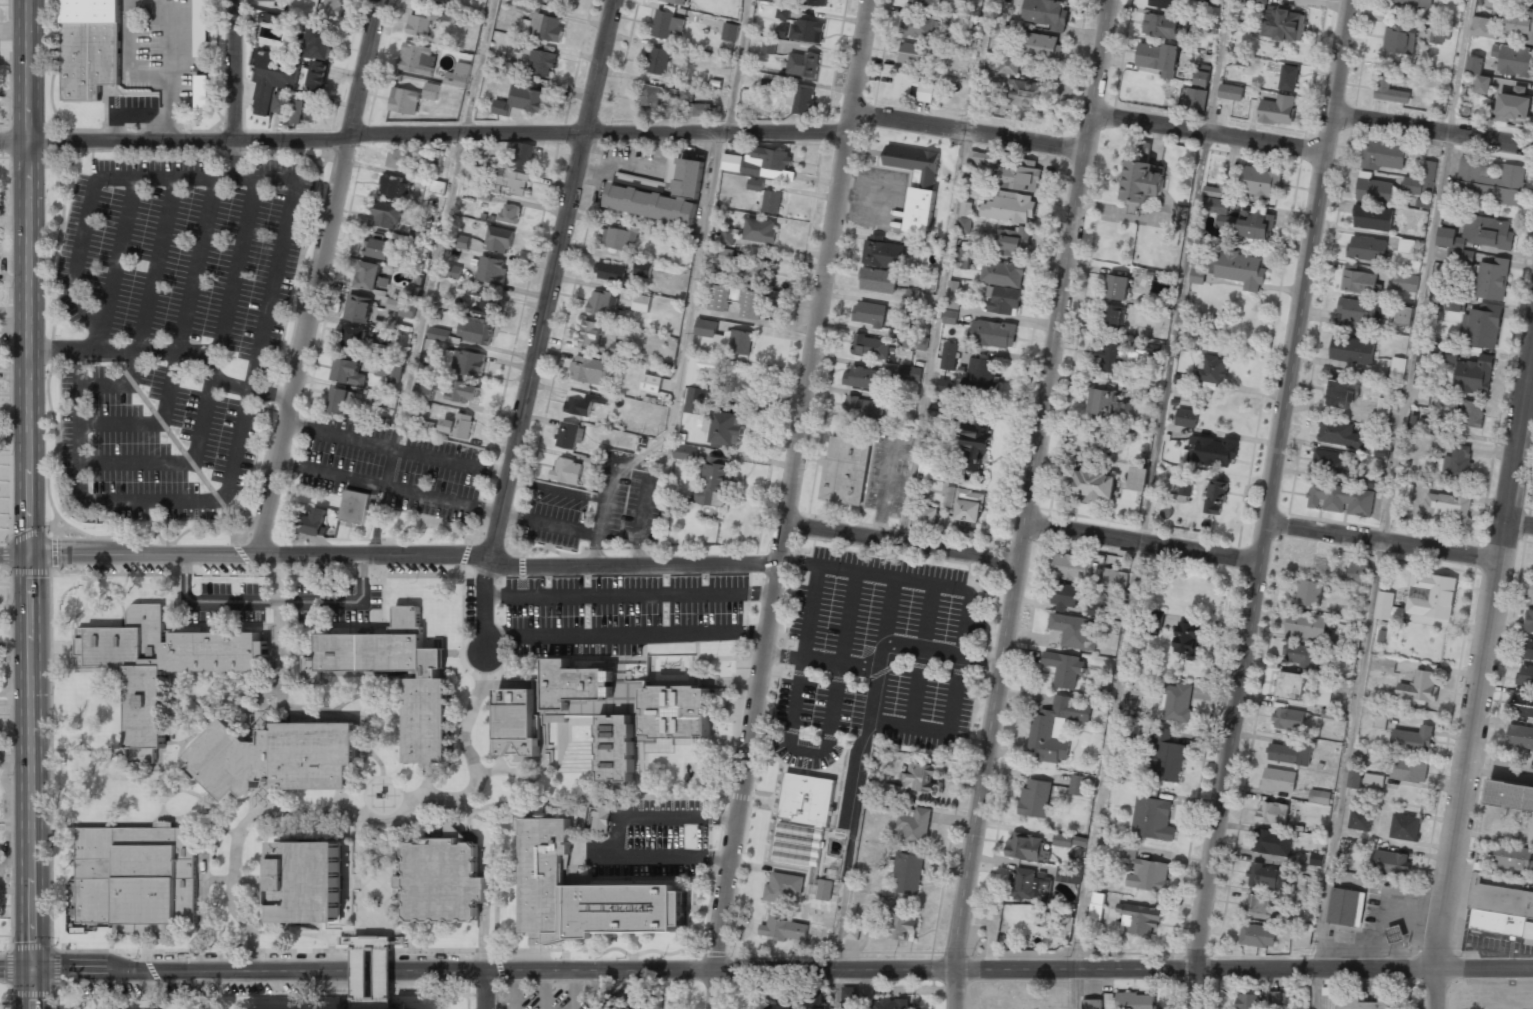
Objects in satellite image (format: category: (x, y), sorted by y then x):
building: (272, 0)
building: (556, 0)
building: (966, 0)
building: (675, 1)
building: (1206, 1)
building: (1259, 1)
building: (436, 2)
building: (817, 2)
building: (921, 2)
building: (1161, 3)
building: (1493, 3)
building: (1414, 4)
building: (331, 7)
building: (782, 13)
building: (1046, 13)
building: (420, 22)
building: (1519, 22)
building: (960, 23)
building: (666, 24)
building: (917, 24)
building: (1283, 24)
building: (543, 25)
building: (1161, 26)
building: (1483, 27)
building: (201, 28)
building: (806, 31)
building: (730, 32)
building: (1440, 33)
building: (1399, 39)
building: (319, 41)
building: (1040, 45)
building: (90, 47)
building: (768, 47)
building: (913, 54)
building: (417, 58)
building: (1158, 58)
building: (1513, 60)
building: (658, 61)
building: (542, 62)
building: (1240, 62)
building: (803, 64)
building: (1009, 65)
building: (1474, 65)
road: (737, 66)
road: (169, 69)
road: (233, 69)
building: (458, 75)
building: (1202, 75)
building: (318, 76)
building: (1288, 77)
building: (273, 78)
building: (1482, 84)
building: (1389, 88)
building: (202, 91)
building: (431, 91)
building: (902, 91)
building: (1230, 92)
building: (1026, 93)
building: (649, 97)
building: (800, 99)
building: (1195, 99)
building: (522, 100)
building: (404, 101)
building: (281, 104)
building: (696, 105)
building: (1514, 106)
building: (1277, 110)
building: (306, 111)
road: (1433, 129)
road: (972, 133)
road: (1211, 134)
road: (425, 136)
building: (521, 155)
building: (1383, 155)
building: (434, 156)
road: (234, 158)
building: (982, 158)
building: (399, 159)
building: (761, 163)
building: (914, 163)
building: (1021, 176)
building: (1422, 180)
building: (510, 181)
building: (1142, 181)
building: (1261, 182)
building: (1489, 182)
building: (755, 185)
building: (393, 186)
building: (437, 186)
building: (626, 187)
building: (1217, 191)
building: (1379, 191)
building: (981, 192)
building: (772, 201)
building: (1422, 203)
road: (956, 204)
building: (1009, 207)
building: (920, 210)
road: (445, 212)
building: (510, 213)
building: (386, 215)
building: (1181, 217)
building: (1372, 218)
building: (964, 225)
building: (1256, 225)
building: (759, 230)
building: (419, 233)
building: (728, 236)
building: (1474, 236)
building: (621, 238)
building: (499, 239)
building: (461, 241)
building: (1013, 241)
building: (1406, 245)
building: (377, 248)
building: (1367, 248)
building: (882, 252)
building: (726, 255)
building: (964, 258)
road: (116, 265)
road: (237, 266)
building: (643, 268)
building: (491, 269)
building: (753, 269)
building: (1239, 269)
building: (451, 271)
building: (610, 272)
building: (1197, 275)
building: (370, 276)
road: (319, 277)
road: (551, 279)
building: (1492, 279)
building: (878, 280)
building: (1357, 280)
building: (1404, 282)
road: (695, 285)
building: (1003, 285)
building: (1160, 286)
building: (1117, 287)
building: (952, 294)
building: (720, 297)
road: (269, 301)
building: (410, 301)
building: (484, 302)
building: (642, 303)
building: (1447, 303)
road: (148, 304)
building: (393, 304)
building: (603, 304)
building: (752, 304)
building: (358, 308)
building: (1359, 310)
building: (869, 313)
building: (1404, 315)
building: (950, 316)
building: (1112, 316)
building: (1481, 326)
building: (706, 328)
road: (294, 329)
building: (476, 332)
building: (591, 333)
building: (993, 333)
building: (439, 334)
building: (384, 337)
building: (354, 338)
road: (182, 339)
road: (52, 340)
building: (741, 342)
building: (915, 342)
building: (871, 346)
building: (618, 348)
building: (1352, 350)
road: (173, 351)
building: (949, 356)
building: (1121, 356)
building: (464, 362)
building: (1423, 365)
building: (1397, 368)
building: (388, 370)
building: (589, 370)
building: (1211, 370)
building: (347, 371)
building: (1470, 371)
building: (910, 373)
building: (981, 375)
building: (864, 378)
building: (651, 383)
building: (945, 385)
building: (424, 391)
building: (463, 392)
building: (1340, 392)
building: (339, 400)
building: (581, 402)
building: (1108, 406)
building: (864, 409)
building: (1383, 409)
building: (1467, 409)
building: (939, 410)
building: (1186, 417)
building: (689, 424)
building: (1424, 424)
building: (458, 425)
building: (428, 426)
building: (726, 428)
building: (977, 431)
building: (1341, 434)
building: (570, 435)
road: (397, 449)
building: (1212, 451)
building: (685, 452)
building: (1380, 452)
building: (969, 458)
building: (1456, 461)
road: (178, 462)
building: (1334, 463)
road: (625, 467)
building: (567, 471)
building: (845, 471)
building: (1138, 478)
building: (714, 481)
building: (1367, 482)
building: (1095, 484)
road: (557, 488)
building: (1183, 492)
building: (1403, 492)
building: (1215, 497)
road: (438, 498)
building: (1341, 499)
road: (1026, 503)
road: (1269, 503)
road: (27, 504)
road: (789, 504)
road: (1148, 504)
road: (1389, 504)
building: (969, 505)
building: (354, 506)
building: (1448, 507)
building: (925, 516)
building: (315, 521)
road: (1519, 526)
road: (405, 530)
road: (1383, 538)
road: (901, 543)
road: (1140, 543)
road: (404, 551)
road: (14, 557)
traffic signals: (28, 558)
building: (1071, 567)
building: (1359, 571)
road: (209, 574)
building: (1114, 578)
building: (1308, 592)
road: (629, 593)
building: (1531, 594)
road: (119, 595)
building: (1066, 595)
building: (1431, 595)
road: (353, 600)
road: (217, 601)
building: (1383, 605)
road: (967, 607)
road: (88, 608)
building: (1095, 609)
road: (78, 613)
building: (1397, 613)
road: (463, 620)
building: (1529, 621)
building: (1306, 625)
building: (1073, 631)
road: (586, 635)
building: (1188, 639)
building: (1527, 649)
building: (215, 650)
road: (883, 654)
building: (1302, 654)
road: (72, 655)
road: (923, 656)
road: (559, 657)
building: (1388, 665)
building: (1064, 668)
building: (134, 671)
building: (1525, 676)
road: (1479, 681)
building: (571, 684)
building: (1291, 685)
building: (1419, 687)
building: (1324, 692)
road: (239, 694)
road: (873, 701)
road: (277, 702)
building: (1176, 702)
building: (1522, 702)
building: (677, 711)
building: (1333, 715)
building: (1288, 718)
building: (428, 721)
road: (362, 722)
building: (516, 722)
building: (1380, 722)
building: (1055, 728)
road: (762, 732)
building: (1520, 737)
building: (1412, 740)
building: (617, 747)
road: (805, 750)
building: (1291, 752)
building: (276, 757)
building: (1165, 757)
road: (177, 759)
road: (51, 762)
building: (1409, 770)
building: (918, 776)
building: (1364, 779)
building: (1279, 780)
building: (1078, 785)
road: (400, 793)
building: (380, 795)
building: (1510, 795)
road: (678, 796)
building: (1320, 796)
building: (1035, 798)
road: (300, 809)
building: (1273, 813)
road: (165, 815)
building: (1151, 815)
building: (602, 818)
building: (1360, 818)
building: (803, 822)
building: (914, 825)
road: (722, 827)
building: (1405, 827)
road: (617, 830)
building: (1062, 840)
building: (1079, 841)
building: (1271, 842)
road: (743, 848)
building: (1026, 848)
building: (1128, 850)
road: (496, 857)
building: (1512, 857)
road: (724, 859)
building: (1316, 859)
building: (1391, 863)
building: (908, 873)
building: (1068, 875)
building: (1148, 875)
building: (136, 877)
building: (1266, 877)
road: (634, 878)
building: (546, 880)
building: (312, 881)
building: (443, 882)
building: (1027, 885)
building: (782, 887)
building: (824, 889)
road: (710, 902)
building: (1096, 905)
building: (1260, 907)
building: (629, 908)
building: (1347, 909)
building: (1500, 909)
building: (1139, 918)
building: (903, 924)
building: (1059, 924)
building: (783, 928)
building: (851, 931)
building: (1257, 935)
building: (1304, 938)
building: (1398, 940)
gas station: (1398, 940)
road: (276, 950)
road: (626, 952)
road: (17, 965)
traffic signals: (35, 965)
road: (1483, 967)
road: (733, 968)
building: (360, 972)
road: (361, 981)
road: (489, 988)
road: (515, 988)
road: (544, 988)
road: (574, 988)
road: (836, 989)
parking lot: (543, 996)
building: (849, 998)
building: (1328, 998)
building: (817, 999)
building: (1276, 999)
road: (267, 1000)
building: (1135, 1001)
building: (1248, 1001)
building: (889, 1003)
building: (1369, 1003)
building: (1092, 1004)
building: (652, 1007)
building: (781, 1007)
building: (1025, 1008)

